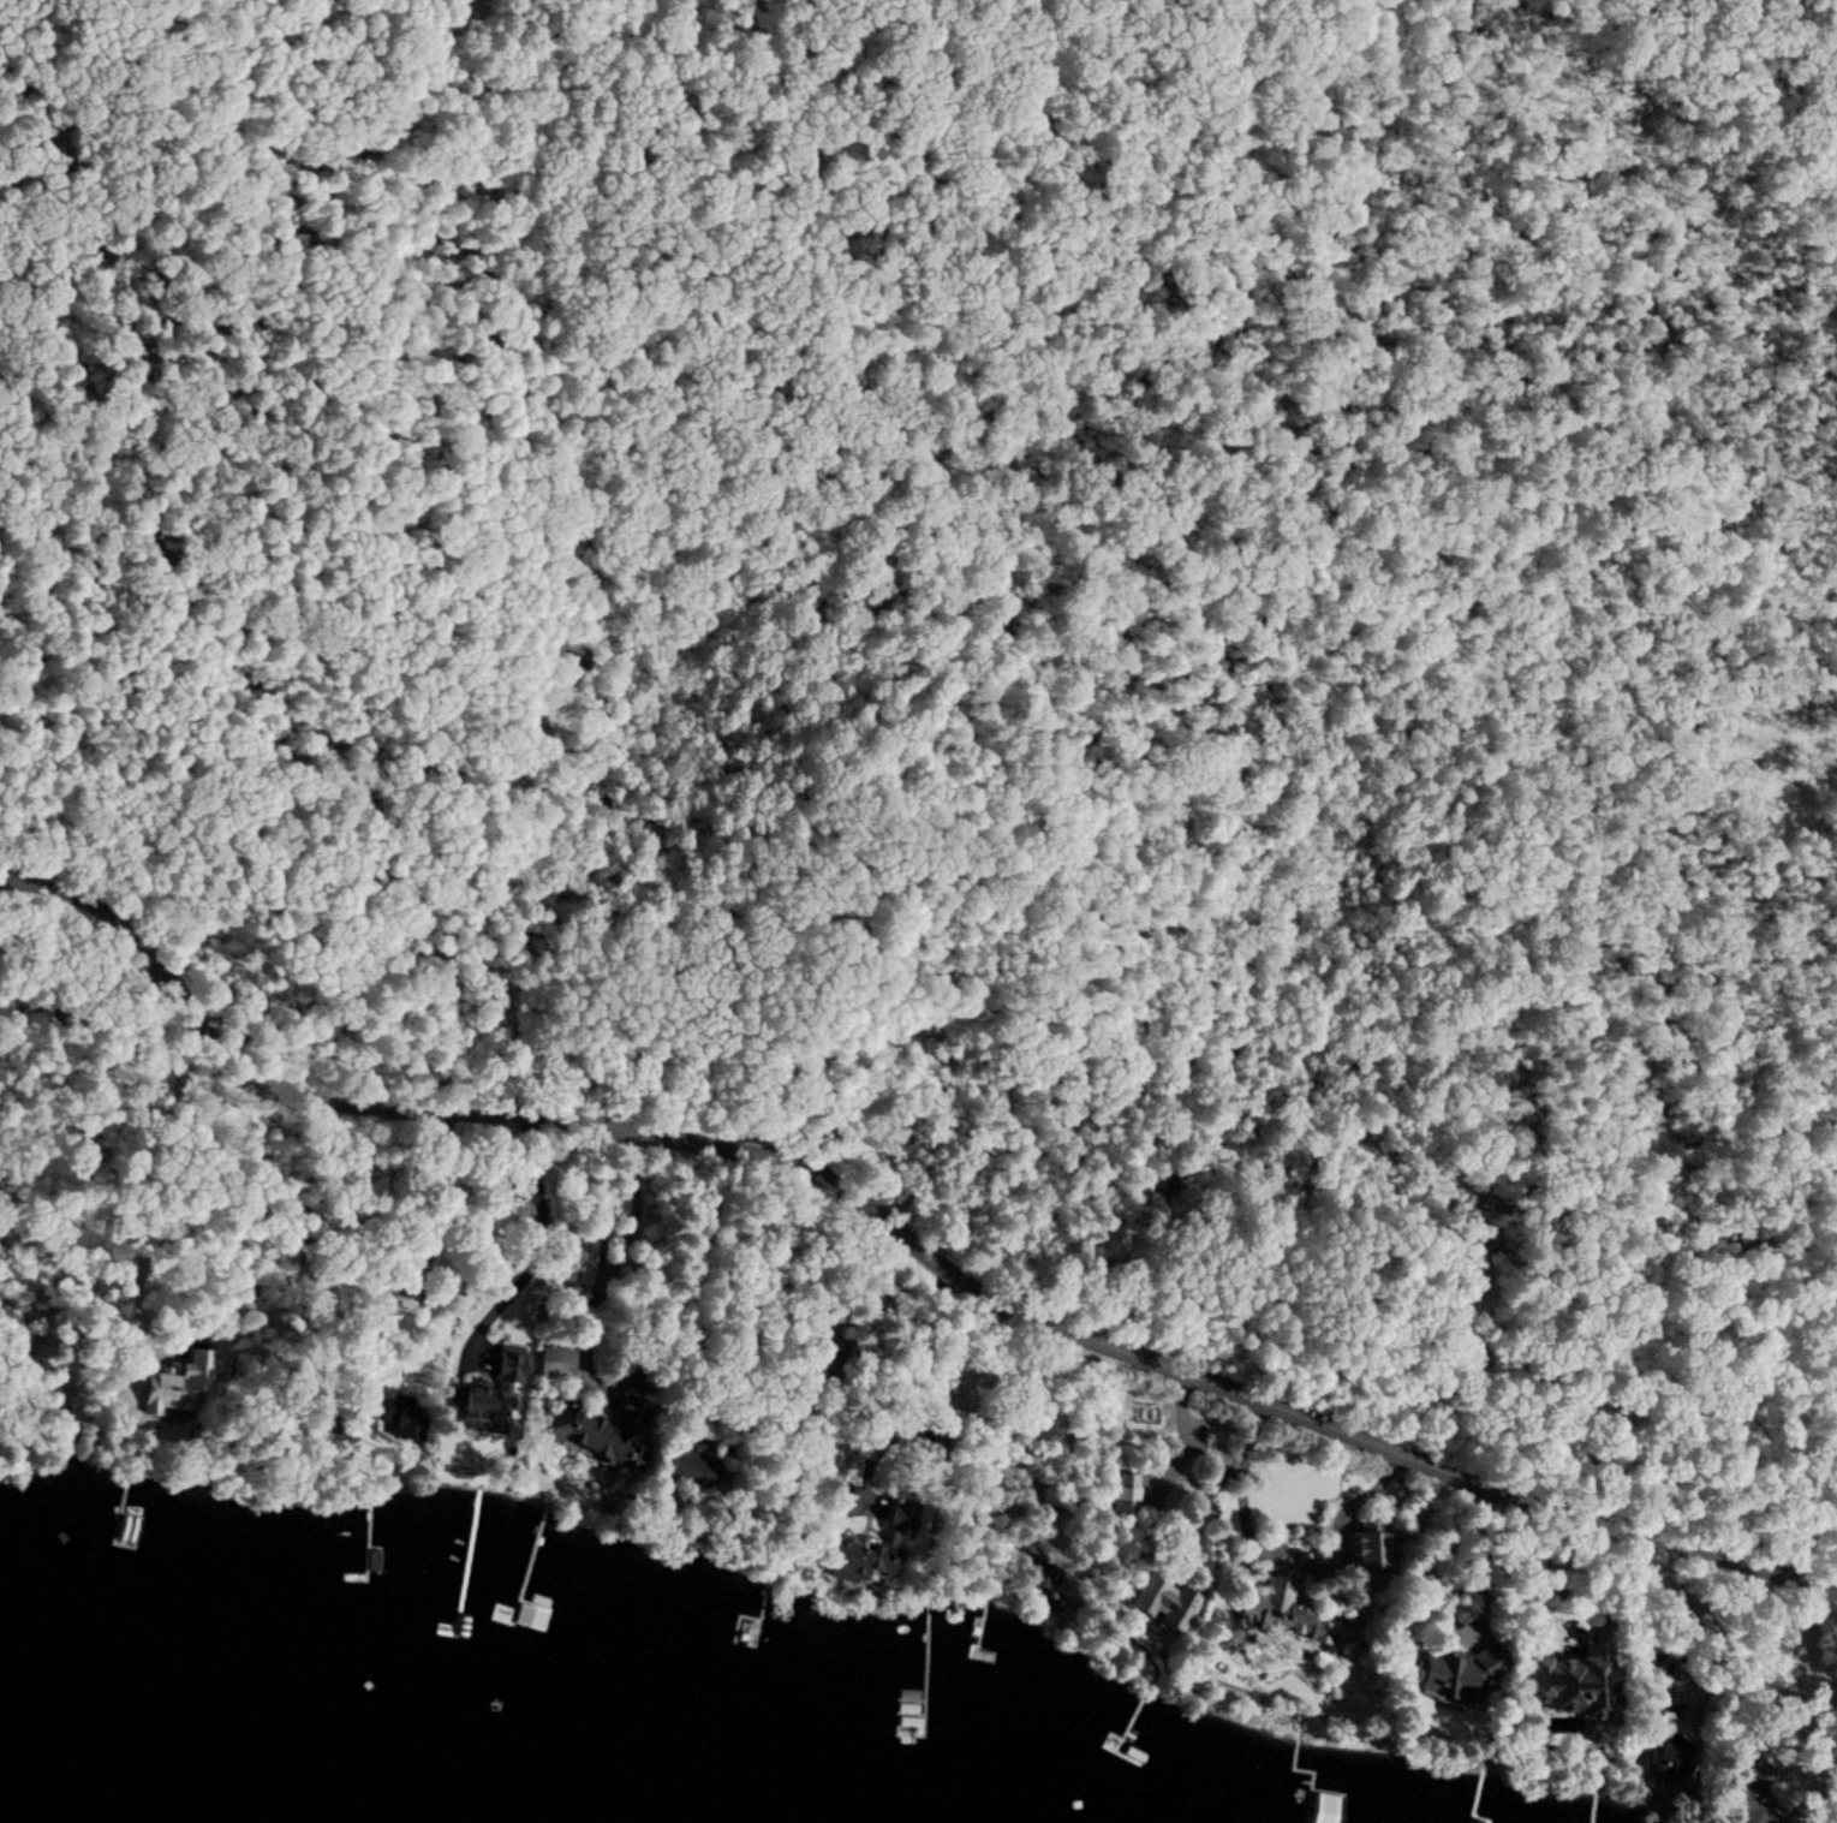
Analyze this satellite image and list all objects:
road: (1742, 81)
road: (764, 543)
road: (893, 1237)
building: (177, 1387)
building: (399, 1416)
building: (600, 1429)
building: (694, 1466)
building: (1122, 1493)
building: (1368, 1556)
building: (859, 1559)
building: (1037, 1571)
building: (1163, 1601)
building: (1283, 1610)
building: (1454, 1673)
building: (1565, 1680)
building: (1663, 1759)

